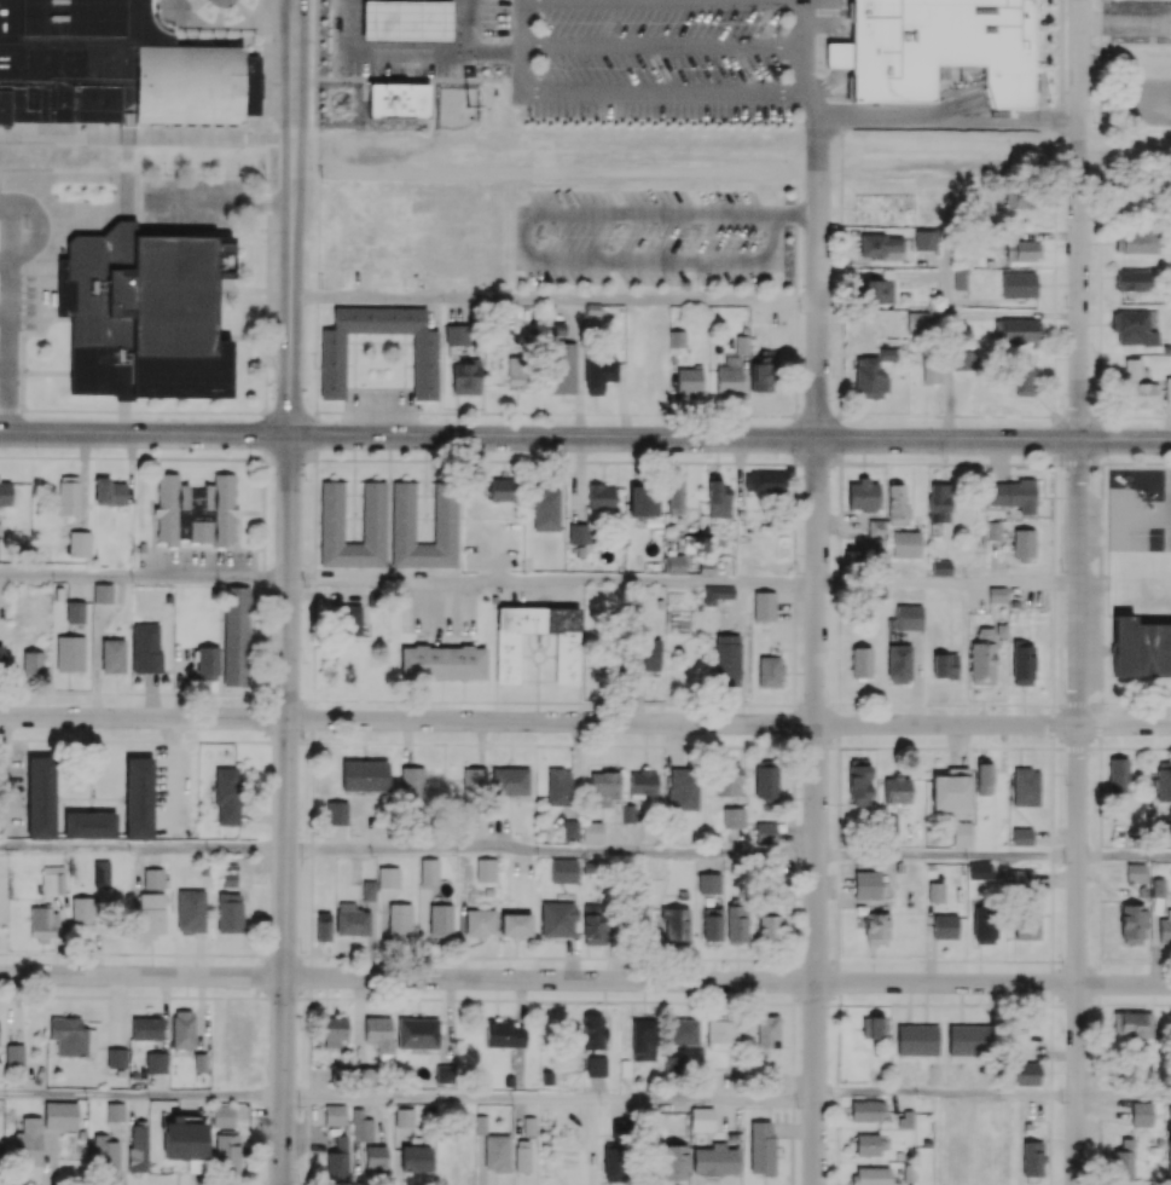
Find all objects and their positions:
road: (671, 2)
building: (405, 21)
road: (805, 46)
road: (663, 48)
building: (943, 50)
road: (522, 53)
building: (853, 53)
parking lot: (667, 60)
building: (836, 62)
building: (115, 68)
road: (294, 68)
road: (673, 96)
road: (935, 96)
road: (1037, 100)
building: (398, 102)
road: (955, 106)
road: (808, 110)
road: (920, 117)
road: (929, 122)
road: (1060, 123)
street lamp: (323, 126)
road: (146, 135)
road: (1124, 145)
road: (127, 167)
road: (970, 169)
road: (135, 203)
parking lot: (193, 203)
road: (196, 203)
road: (5, 204)
road: (271, 204)
road: (794, 220)
road: (1077, 220)
road: (42, 230)
road: (10, 232)
road: (523, 252)
road: (290, 284)
road: (553, 300)
parking lot: (21, 304)
road: (946, 305)
building: (147, 317)
road: (7, 345)
road: (144, 433)
road: (730, 438)
street lamp: (34, 452)
street lamp: (254, 455)
street lamp: (657, 457)
street lamp: (792, 459)
road: (144, 577)
road: (552, 582)
road: (947, 584)
street lamp: (303, 586)
road: (817, 653)
road: (143, 718)
road: (727, 723)
street lamp: (302, 739)
road: (285, 809)
road: (1078, 813)
road: (143, 848)
road: (550, 851)
road: (946, 856)
road: (1124, 856)
street lamp: (298, 950)
road: (140, 975)
road: (726, 982)
street lamp: (828, 1017)
road: (944, 1091)
road: (1123, 1093)
road: (140, 1094)
road: (547, 1098)

